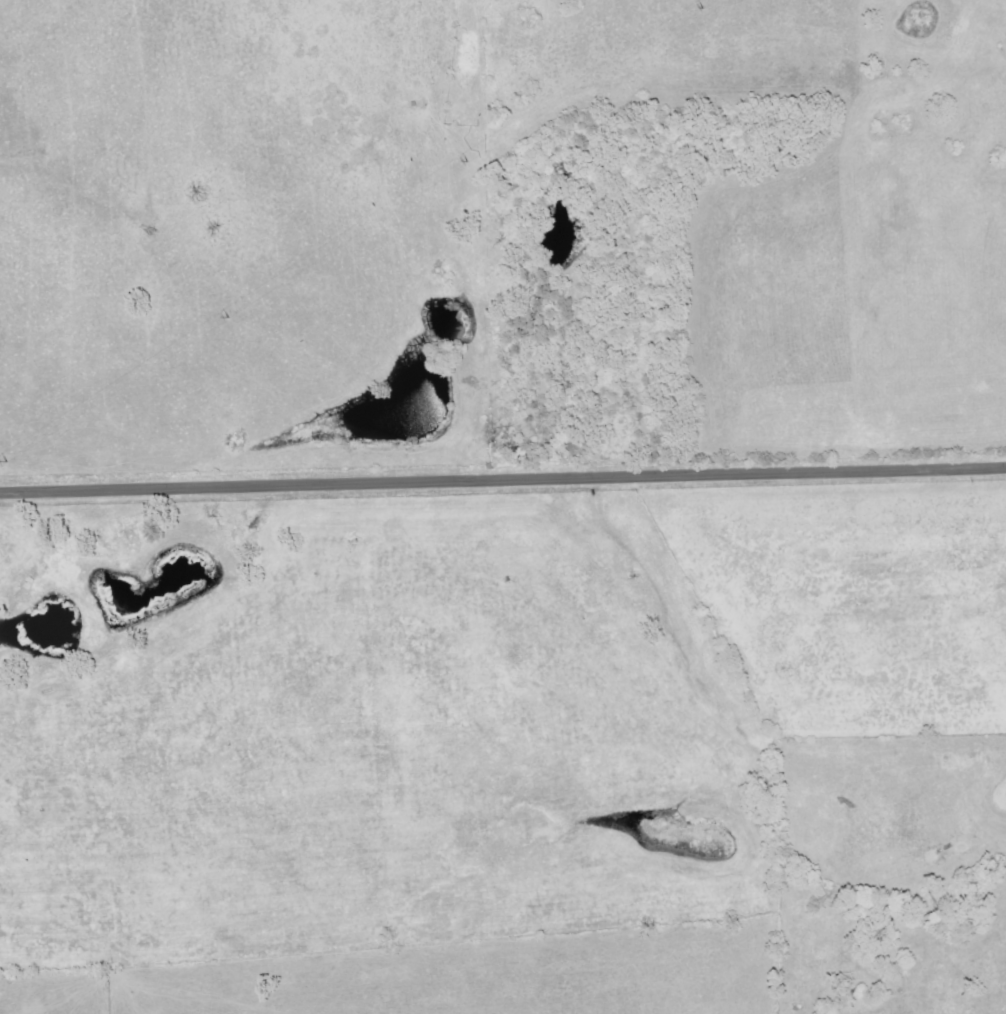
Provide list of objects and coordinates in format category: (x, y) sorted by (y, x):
power tower: (703, 9)
power tower: (467, 161)
power tower: (230, 317)
power tower: (8, 461)
road: (503, 477)

